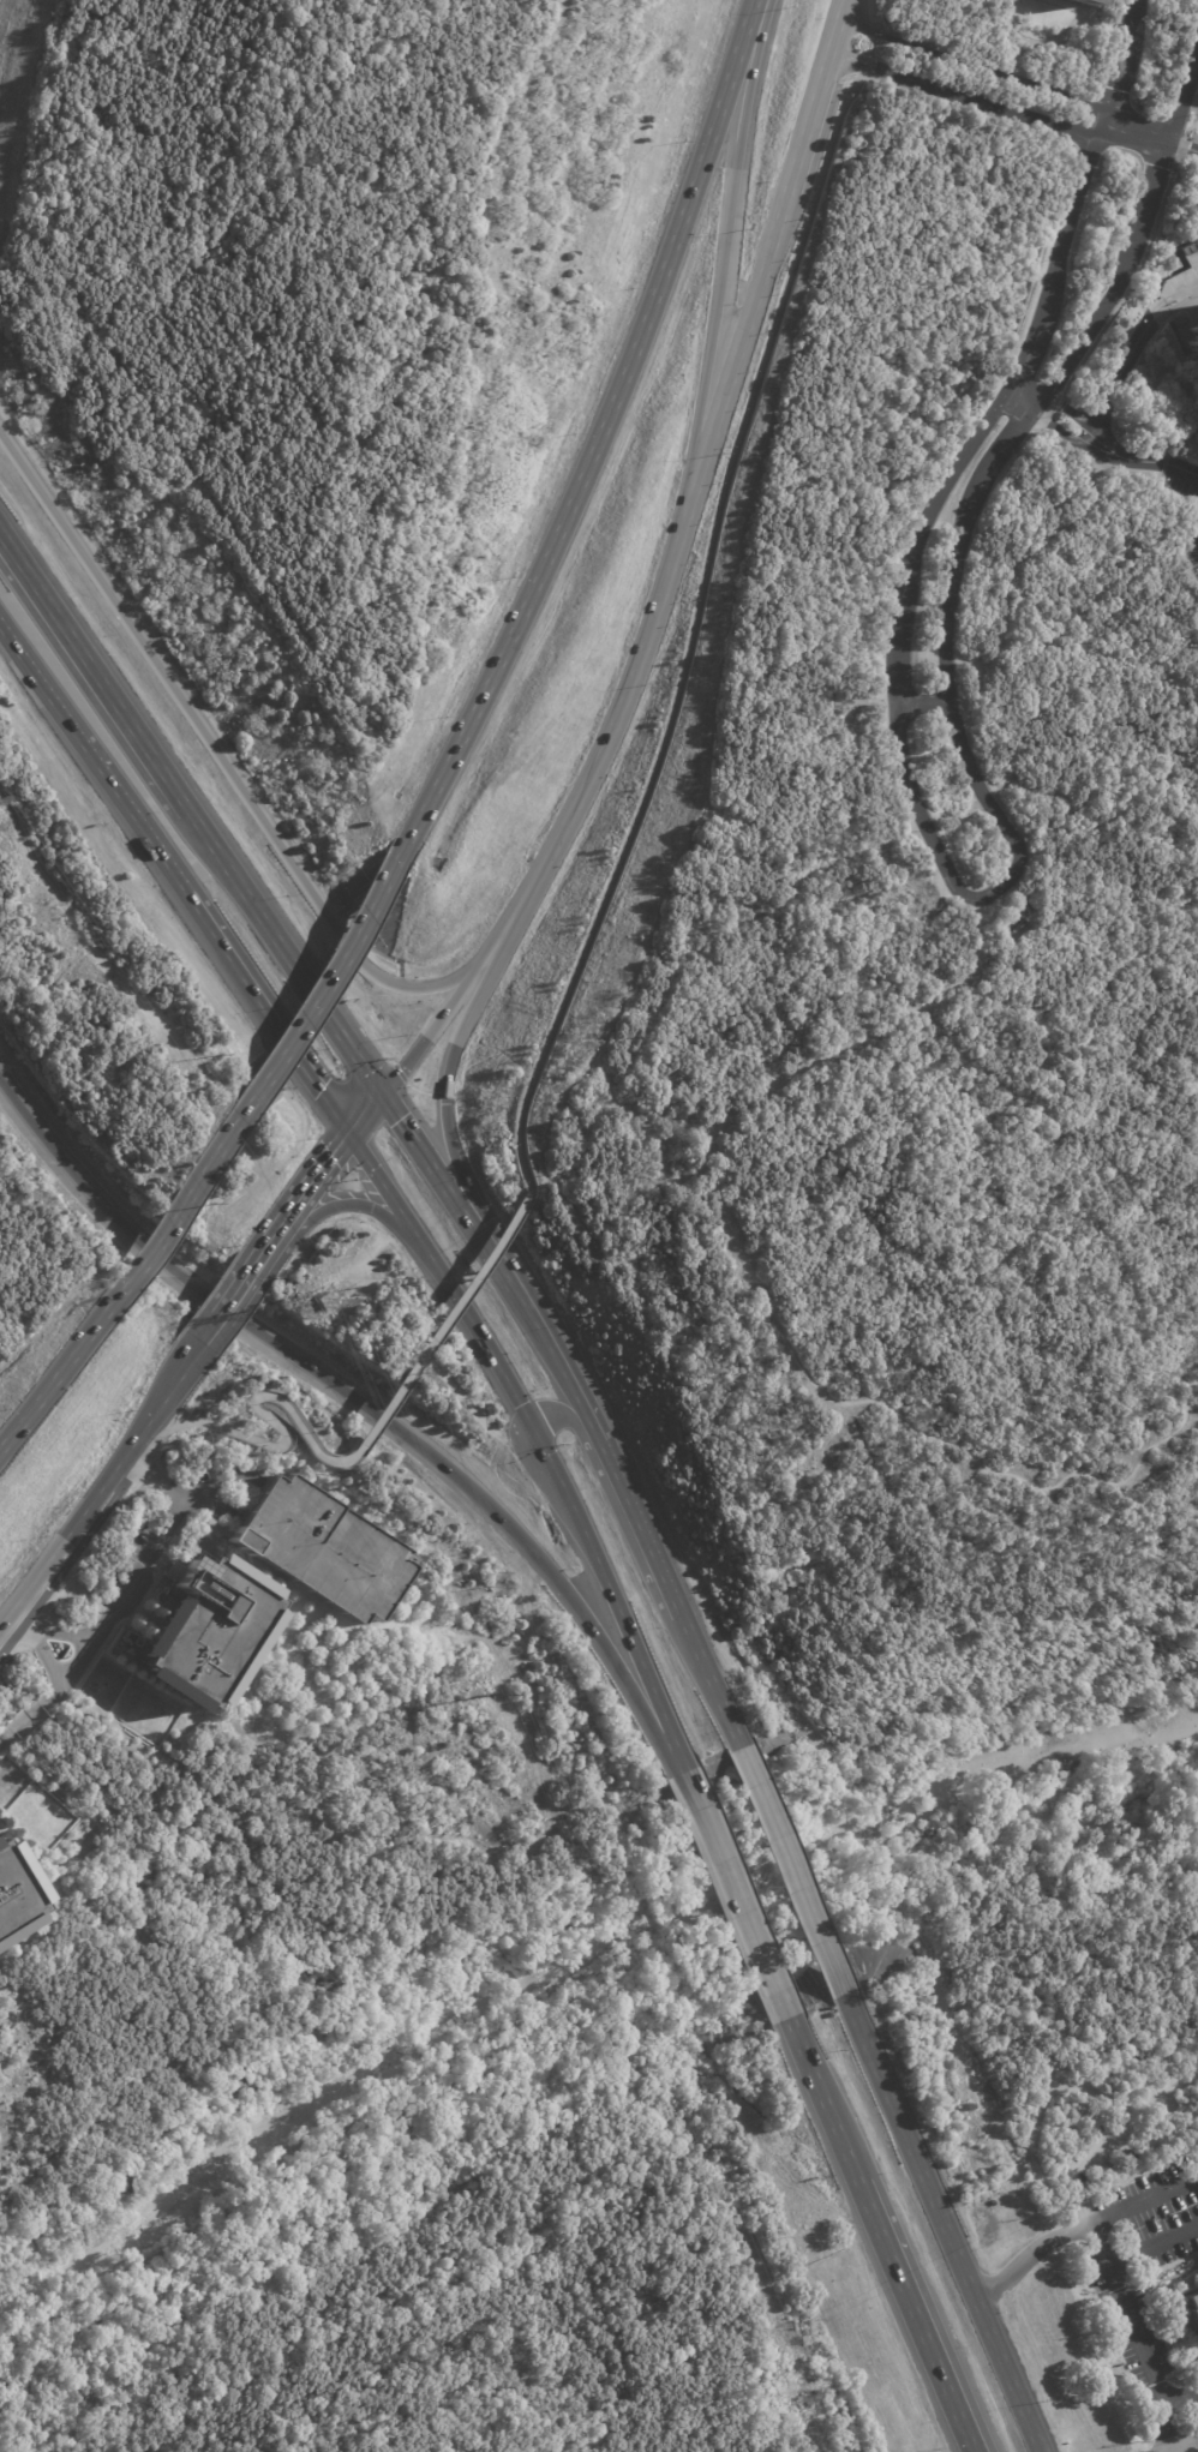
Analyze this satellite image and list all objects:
building: (1082, 2)
road: (871, 14)
road: (835, 28)
road: (1125, 54)
road: (976, 61)
park: (1193, 68)
road: (1191, 91)
road: (965, 97)
road: (1139, 125)
road: (808, 127)
road: (1181, 148)
road: (724, 258)
building: (1185, 307)
road: (741, 358)
road: (1118, 377)
road: (1029, 392)
road: (604, 433)
road: (1113, 450)
road: (984, 470)
road: (948, 485)
road: (699, 615)
road: (97, 666)
road: (927, 697)
road: (604, 748)
road: (216, 754)
road: (174, 879)
road: (290, 948)
road: (327, 983)
road: (436, 1026)
road: (864, 1041)
traffic signals: (387, 1089)
road: (448, 1093)
road: (367, 1110)
traffic signals: (348, 1133)
park: (948, 1134)
road: (431, 1156)
road: (211, 1164)
road: (677, 1169)
road: (318, 1177)
road: (352, 1204)
road: (151, 1248)
road: (268, 1248)
power tower: (318, 1299)
road: (223, 1308)
road: (442, 1323)
road: (549, 1343)
road: (188, 1360)
road: (62, 1363)
road: (337, 1392)
road: (166, 1395)
road: (457, 1397)
road: (525, 1417)
road: (191, 1422)
road: (575, 1423)
traffic signals: (534, 1435)
road: (77, 1519)
road: (651, 1540)
building: (321, 1548)
parking garage: (321, 1548)
road: (120, 1595)
building: (210, 1629)
road: (41, 1641)
road: (709, 1683)
power tower: (492, 1695)
road: (672, 1747)
road: (790, 1871)
building: (14, 1892)
road: (733, 1895)
road: (1168, 2034)
road: (600, 2067)
parking lot: (1054, 2082)
road: (1056, 2084)
road: (1160, 2098)
road: (821, 2099)
parking lot: (1125, 2133)
road: (1144, 2201)
road: (1083, 2212)
road: (942, 2223)
road: (601, 2237)
road: (1152, 2246)
road: (1030, 2256)
building: (1188, 2310)
road: (914, 2315)
road: (1137, 2336)
power tower: (786, 2388)
road: (1182, 2397)
road: (899, 2417)
road: (1181, 2444)
road: (1169, 2451)

